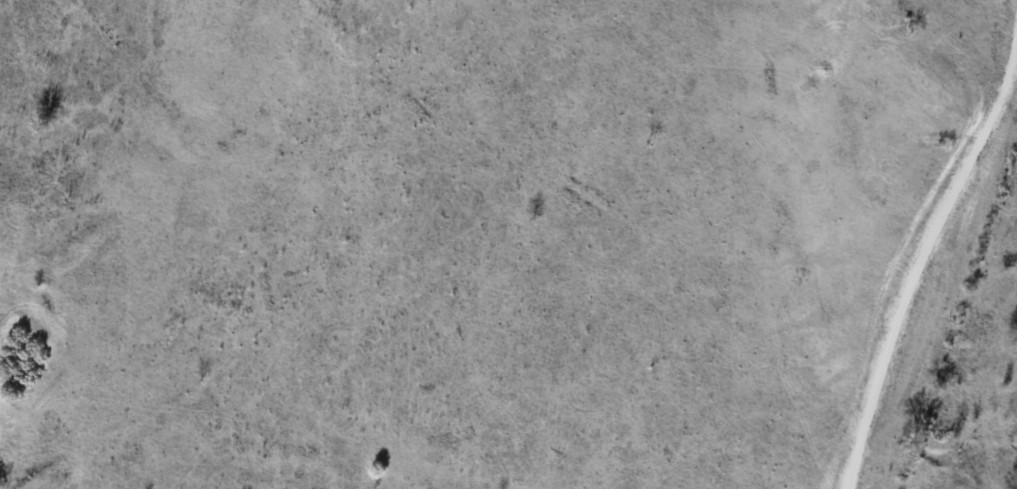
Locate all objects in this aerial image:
road: (926, 243)

